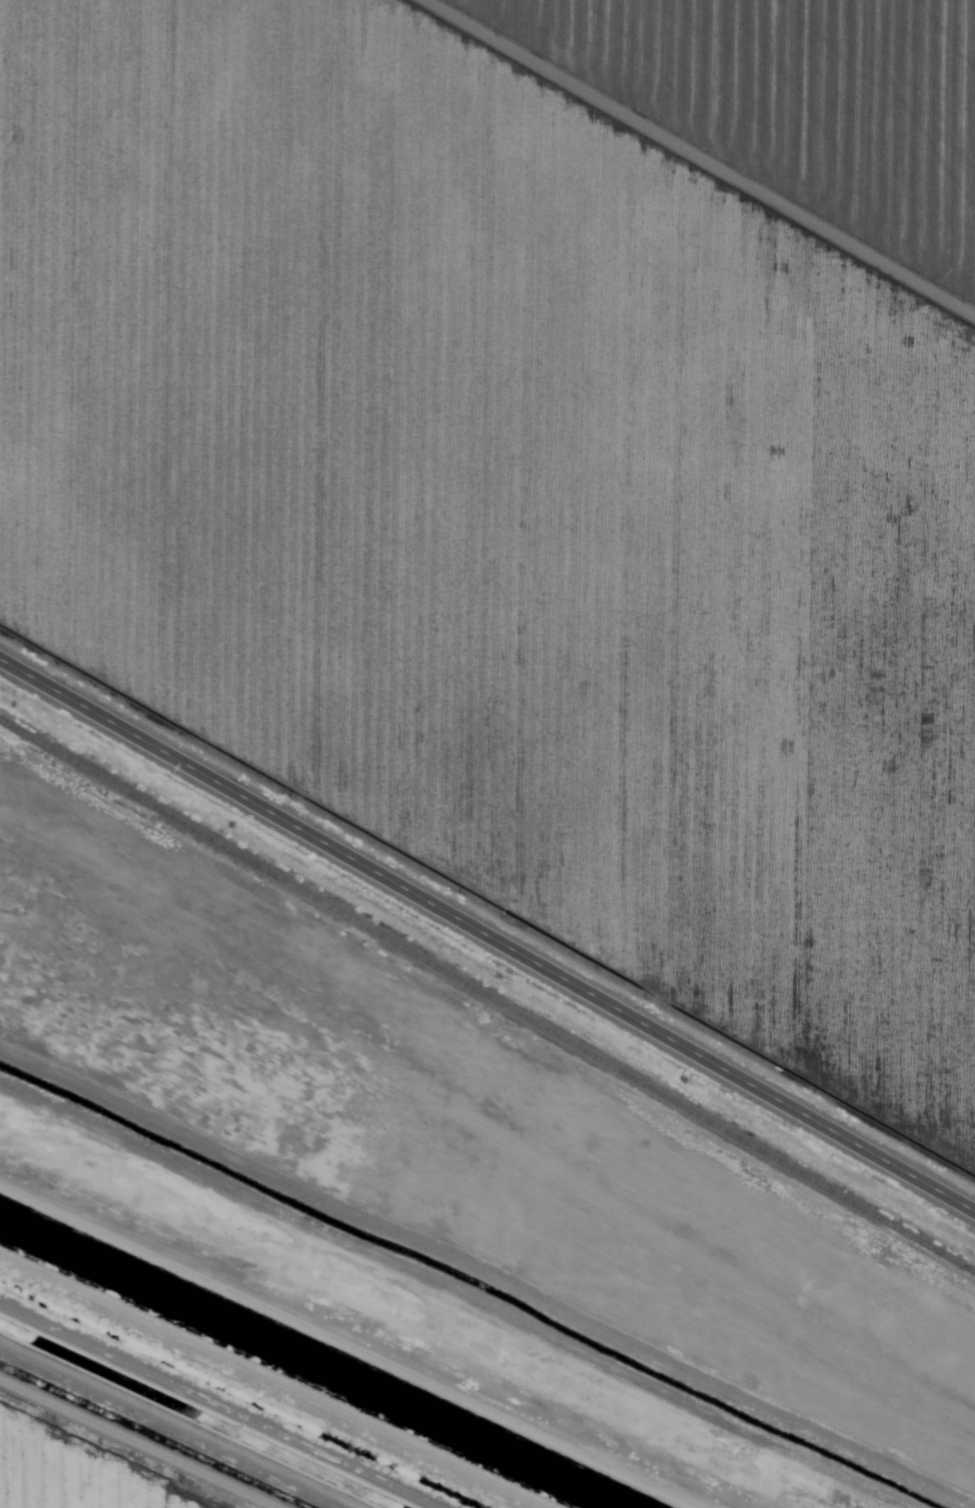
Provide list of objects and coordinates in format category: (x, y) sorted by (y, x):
crop: (536, 474)
road: (487, 937)
railway: (487, 996)
road: (422, 1314)
road: (195, 1416)
crop: (83, 1469)

